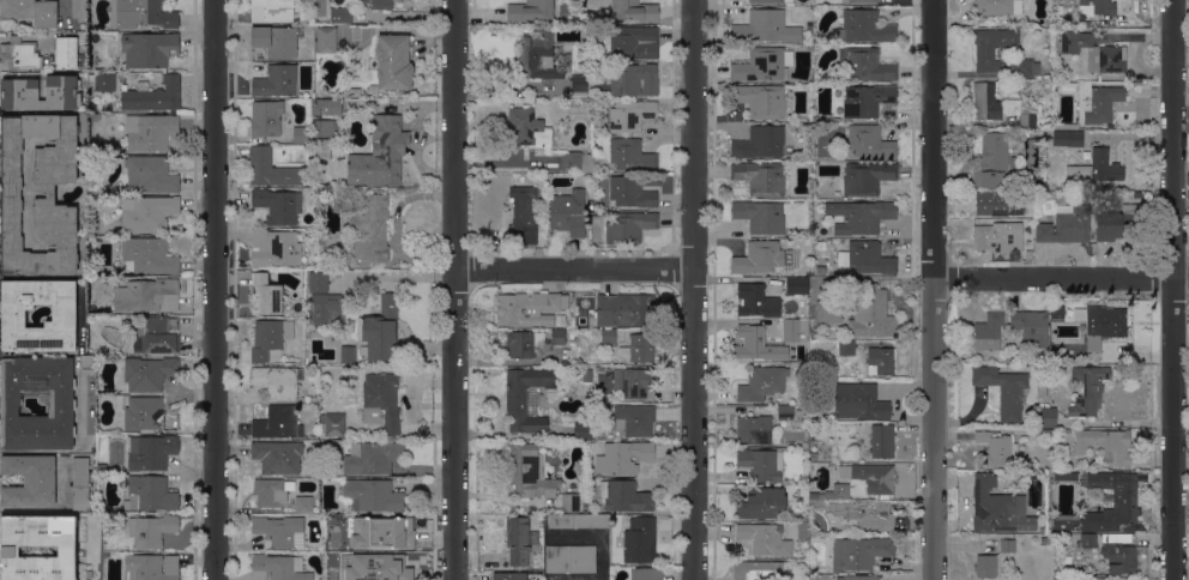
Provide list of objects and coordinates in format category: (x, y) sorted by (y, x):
building: (774, 1)
building: (864, 1)
building: (376, 4)
building: (998, 6)
building: (1096, 7)
building: (78, 10)
building: (530, 10)
building: (272, 11)
building: (634, 11)
building: (1057, 11)
building: (31, 12)
building: (141, 13)
building: (339, 14)
building: (980, 18)
building: (1087, 24)
building: (809, 26)
building: (864, 26)
building: (765, 28)
building: (82, 37)
building: (276, 40)
building: (326, 40)
building: (629, 41)
building: (992, 47)
building: (149, 48)
building: (1094, 52)
building: (67, 53)
building: (19, 55)
building: (538, 59)
building: (392, 61)
building: (1058, 62)
building: (865, 64)
building: (760, 65)
building: (1025, 68)
building: (630, 77)
building: (276, 80)
building: (99, 83)
building: (578, 87)
building: (19, 92)
building: (152, 95)
building: (760, 99)
building: (869, 101)
building: (985, 101)
building: (1097, 102)
building: (326, 107)
building: (630, 115)
building: (93, 116)
building: (266, 117)
building: (1027, 120)
building: (1066, 126)
building: (322, 128)
building: (529, 128)
building: (151, 132)
building: (300, 134)
building: (1068, 138)
building: (760, 141)
building: (869, 141)
building: (380, 153)
building: (630, 155)
building: (579, 159)
building: (992, 161)
building: (1096, 167)
building: (271, 169)
building: (150, 174)
building: (760, 177)
building: (867, 177)
building: (630, 192)
building: (10, 194)
building: (998, 203)
building: (278, 205)
building: (1135, 207)
building: (568, 212)
building: (147, 213)
building: (760, 216)
building: (861, 216)
building: (523, 217)
building: (104, 218)
building: (1066, 224)
building: (375, 225)
building: (628, 226)
building: (1113, 226)
building: (998, 236)
building: (274, 248)
building: (147, 255)
building: (760, 256)
building: (870, 258)
road: (578, 272)
road: (1060, 276)
building: (796, 285)
road: (1171, 289)
road: (217, 290)
road: (460, 290)
road: (694, 290)
road: (931, 290)
building: (265, 294)
building: (146, 295)
building: (756, 301)
building: (322, 302)
building: (531, 308)
building: (624, 309)
building: (1074, 310)
building: (871, 313)
building: (1057, 313)
building: (822, 314)
building: (61, 316)
building: (1106, 321)
building: (1032, 326)
building: (380, 330)
building: (795, 330)
building: (989, 331)
building: (571, 336)
building: (608, 336)
building: (156, 337)
building: (270, 337)
building: (557, 337)
building: (525, 344)
building: (758, 344)
building: (639, 348)
building: (846, 348)
building: (345, 354)
building: (880, 361)
building: (87, 362)
building: (147, 373)
building: (587, 375)
building: (1046, 377)
building: (278, 381)
building: (638, 382)
building: (762, 383)
building: (617, 385)
building: (1003, 391)
building: (1087, 391)
building: (526, 398)
building: (381, 401)
building: (859, 401)
building: (62, 403)
building: (785, 412)
building: (149, 415)
building: (1046, 417)
building: (632, 419)
building: (277, 423)
building: (333, 424)
building: (583, 430)
building: (755, 430)
building: (1045, 430)
building: (882, 440)
building: (1105, 443)
building: (997, 448)
building: (151, 452)
building: (813, 455)
building: (277, 457)
building: (372, 457)
building: (623, 457)
building: (761, 464)
building: (101, 469)
building: (530, 472)
building: (875, 477)
building: (29, 481)
building: (80, 485)
building: (840, 490)
building: (272, 491)
building: (151, 493)
building: (370, 495)
building: (623, 496)
building: (569, 502)
building: (1103, 502)
building: (303, 503)
building: (584, 503)
building: (761, 503)
building: (816, 505)
building: (998, 508)
building: (864, 514)
building: (579, 521)
building: (280, 530)
building: (152, 531)
building: (379, 531)
building: (813, 532)
building: (764, 538)
building: (519, 539)
building: (639, 539)
building: (1044, 539)
building: (618, 542)
building: (1085, 543)
building: (1007, 545)
building: (123, 546)
building: (386, 548)
building: (8, 551)
building: (859, 552)
building: (1118, 552)
building: (571, 558)
building: (985, 566)
building: (278, 567)
building: (376, 567)
building: (1084, 567)
building: (146, 568)
building: (758, 570)
building: (1057, 573)
building: (646, 574)
building: (508, 575)
building: (857, 576)
building: (321, 579)
building: (1096, 579)

